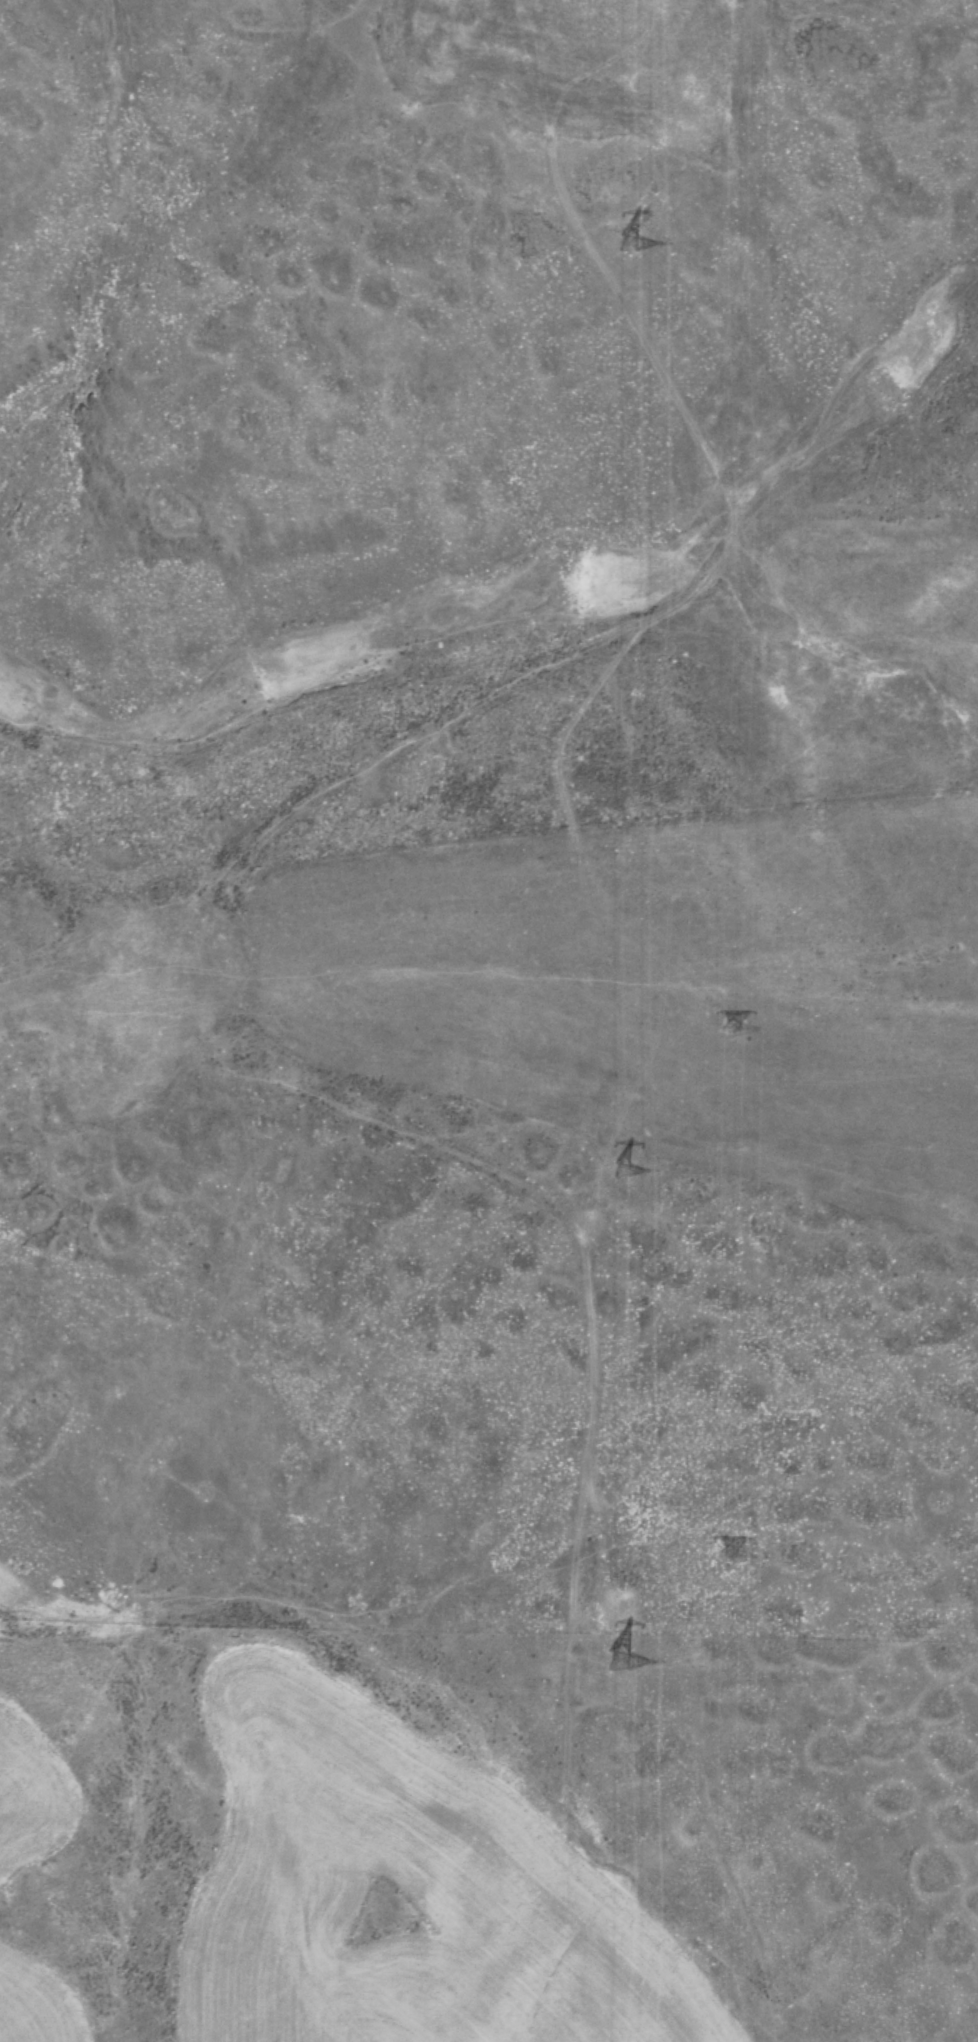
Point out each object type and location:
power tower: (652, 230)
power tower: (742, 1031)
power tower: (647, 1166)
power tower: (742, 1549)
power tower: (641, 1667)

